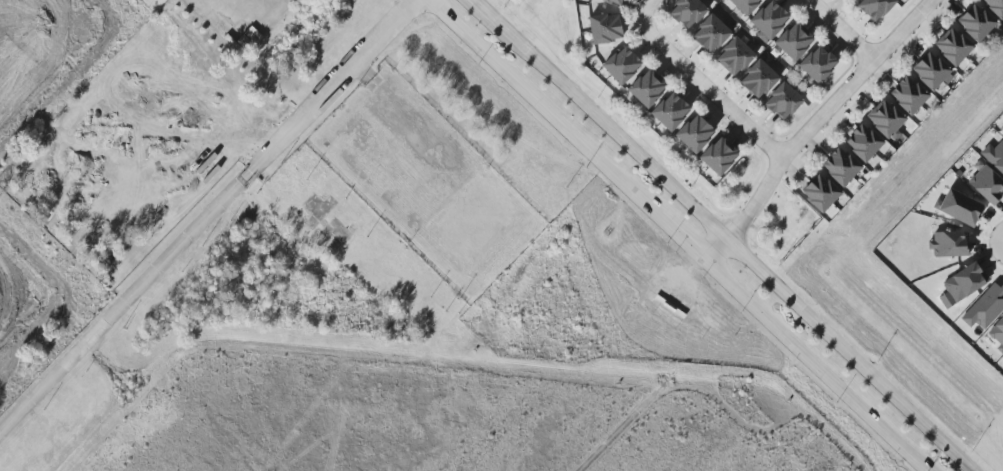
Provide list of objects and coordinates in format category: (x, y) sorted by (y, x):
building: (851, 0)
road: (211, 1)
building: (613, 1)
building: (1001, 1)
building: (735, 2)
building: (865, 5)
building: (747, 6)
building: (995, 7)
road: (647, 8)
building: (681, 8)
building: (879, 9)
road: (487, 10)
building: (692, 15)
building: (764, 15)
building: (980, 18)
building: (603, 21)
building: (774, 24)
building: (705, 28)
building: (971, 28)
road: (240, 30)
road: (841, 30)
building: (605, 35)
building: (788, 37)
building: (714, 38)
building: (957, 41)
building: (798, 46)
building: (729, 51)
building: (947, 51)
building: (616, 60)
building: (739, 61)
building: (812, 61)
building: (935, 65)
building: (626, 70)
building: (822, 70)
building: (753, 73)
building: (925, 75)
building: (762, 83)
building: (642, 84)
road: (709, 90)
building: (913, 90)
building: (652, 93)
building: (778, 96)
building: (903, 100)
building: (788, 106)
building: (665, 107)
road: (543, 108)
building: (890, 113)
building: (675, 116)
road: (624, 118)
building: (880, 123)
road: (811, 126)
building: (689, 129)
building: (1002, 135)
building: (699, 138)
building: (868, 138)
building: (858, 148)
building: (713, 151)
building: (994, 156)
building: (723, 161)
building: (845, 162)
building: (835, 172)
building: (987, 184)
building: (824, 188)
building: (815, 198)
building: (958, 207)
road: (207, 215)
road: (681, 239)
road: (983, 242)
road: (998, 242)
road: (743, 243)
building: (948, 244)
road: (310, 266)
building: (963, 282)
building: (984, 307)
building: (998, 334)
road: (814, 367)
road: (617, 431)

